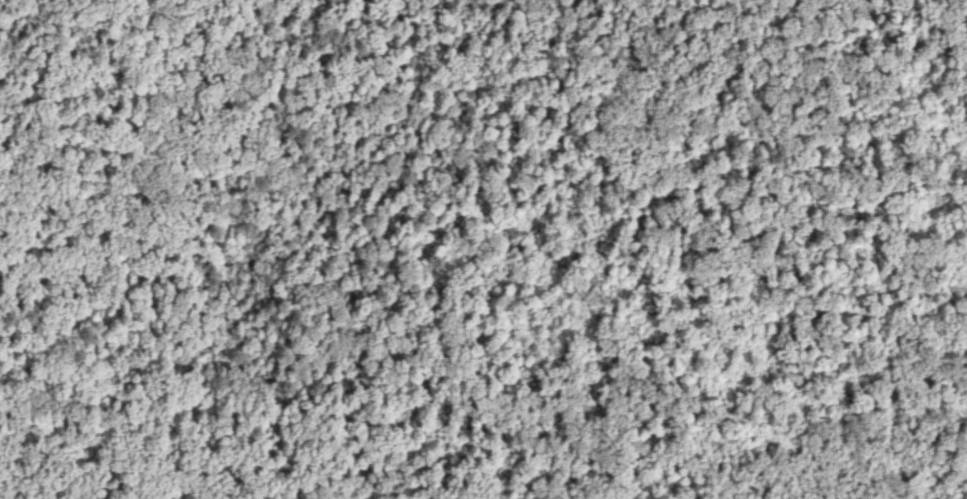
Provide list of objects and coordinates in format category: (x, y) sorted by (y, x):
road: (666, 256)

